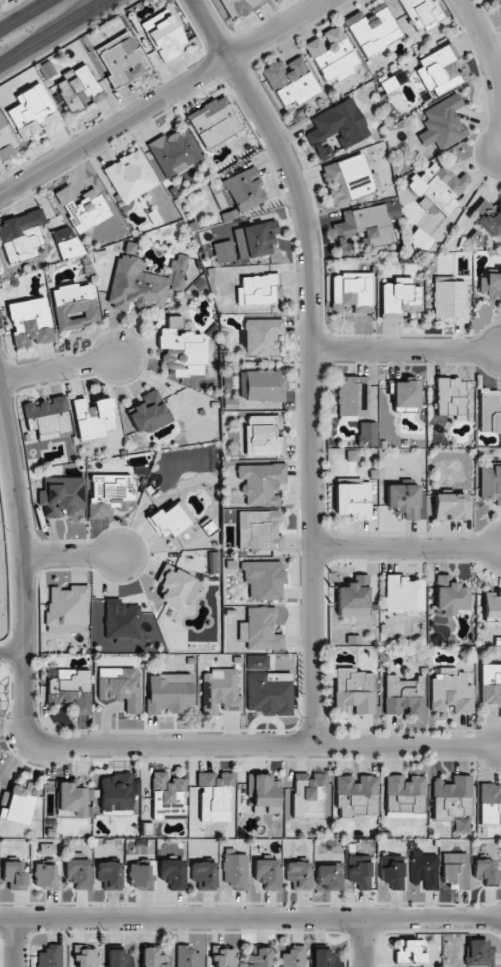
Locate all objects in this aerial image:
building: (495, 0)
road: (8, 4)
building: (239, 6)
building: (422, 13)
road: (23, 14)
building: (372, 30)
road: (53, 31)
building: (164, 36)
building: (331, 54)
building: (121, 60)
building: (438, 71)
road: (493, 73)
building: (290, 81)
building: (78, 89)
road: (160, 95)
building: (33, 113)
building: (213, 122)
building: (442, 123)
building: (336, 127)
building: (6, 140)
building: (174, 152)
building: (129, 176)
building: (347, 180)
building: (437, 188)
building: (242, 192)
building: (81, 208)
building: (488, 218)
building: (365, 225)
building: (20, 235)
building: (259, 238)
building: (420, 241)
building: (65, 242)
building: (100, 256)
building: (142, 281)
building: (491, 287)
building: (256, 291)
building: (350, 292)
building: (400, 298)
building: (449, 301)
building: (74, 306)
building: (261, 336)
building: (182, 350)
road: (405, 350)
road: (309, 358)
road: (59, 369)
building: (264, 385)
building: (404, 393)
building: (352, 396)
building: (450, 398)
building: (490, 411)
building: (148, 413)
building: (47, 417)
building: (92, 418)
building: (367, 434)
building: (260, 436)
building: (261, 483)
building: (490, 483)
building: (108, 493)
building: (62, 497)
building: (403, 499)
building: (353, 500)
building: (449, 506)
building: (171, 518)
building: (259, 530)
road: (405, 548)
road: (70, 557)
building: (214, 562)
road: (20, 571)
building: (263, 579)
building: (177, 589)
building: (402, 594)
building: (450, 596)
building: (353, 598)
building: (492, 605)
building: (67, 609)
building: (121, 621)
building: (259, 629)
road: (12, 654)
building: (256, 662)
building: (490, 683)
building: (119, 687)
building: (70, 689)
building: (353, 690)
building: (220, 691)
building: (451, 691)
building: (169, 693)
building: (269, 693)
building: (403, 695)
road: (266, 747)
building: (116, 794)
building: (264, 794)
building: (214, 795)
building: (308, 795)
building: (357, 795)
building: (404, 796)
building: (168, 797)
building: (451, 798)
building: (71, 800)
building: (490, 803)
building: (19, 804)
building: (235, 870)
building: (423, 870)
building: (455, 870)
building: (485, 870)
building: (392, 871)
building: (78, 873)
building: (172, 873)
building: (267, 873)
building: (359, 874)
building: (14, 875)
building: (109, 875)
building: (140, 875)
building: (204, 875)
building: (298, 875)
building: (45, 876)
building: (329, 877)
road: (250, 918)
road: (362, 942)
road: (15, 943)
building: (408, 951)
building: (477, 953)
building: (50, 956)
building: (83, 956)
building: (187, 956)
building: (153, 957)
building: (223, 957)
building: (294, 957)
building: (118, 958)
building: (258, 958)
building: (323, 958)

